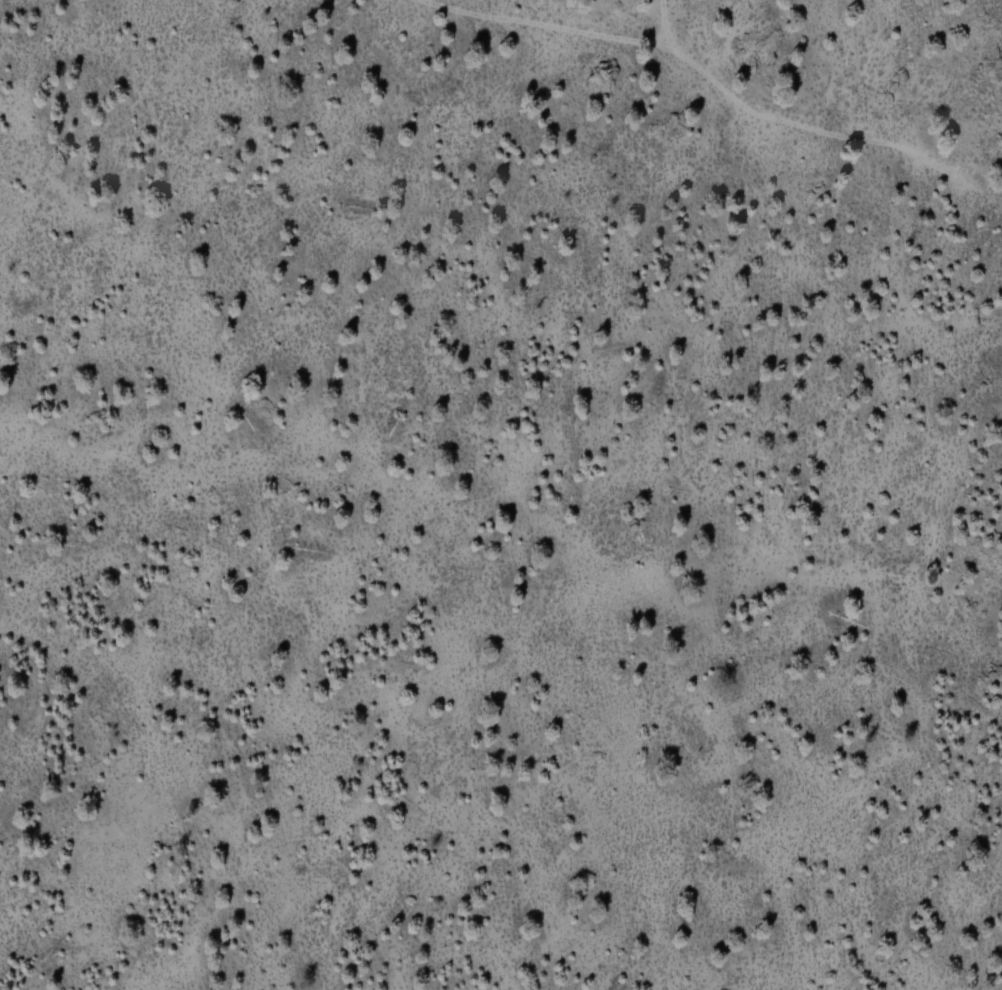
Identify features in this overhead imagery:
road: (675, 27)
road: (682, 55)

